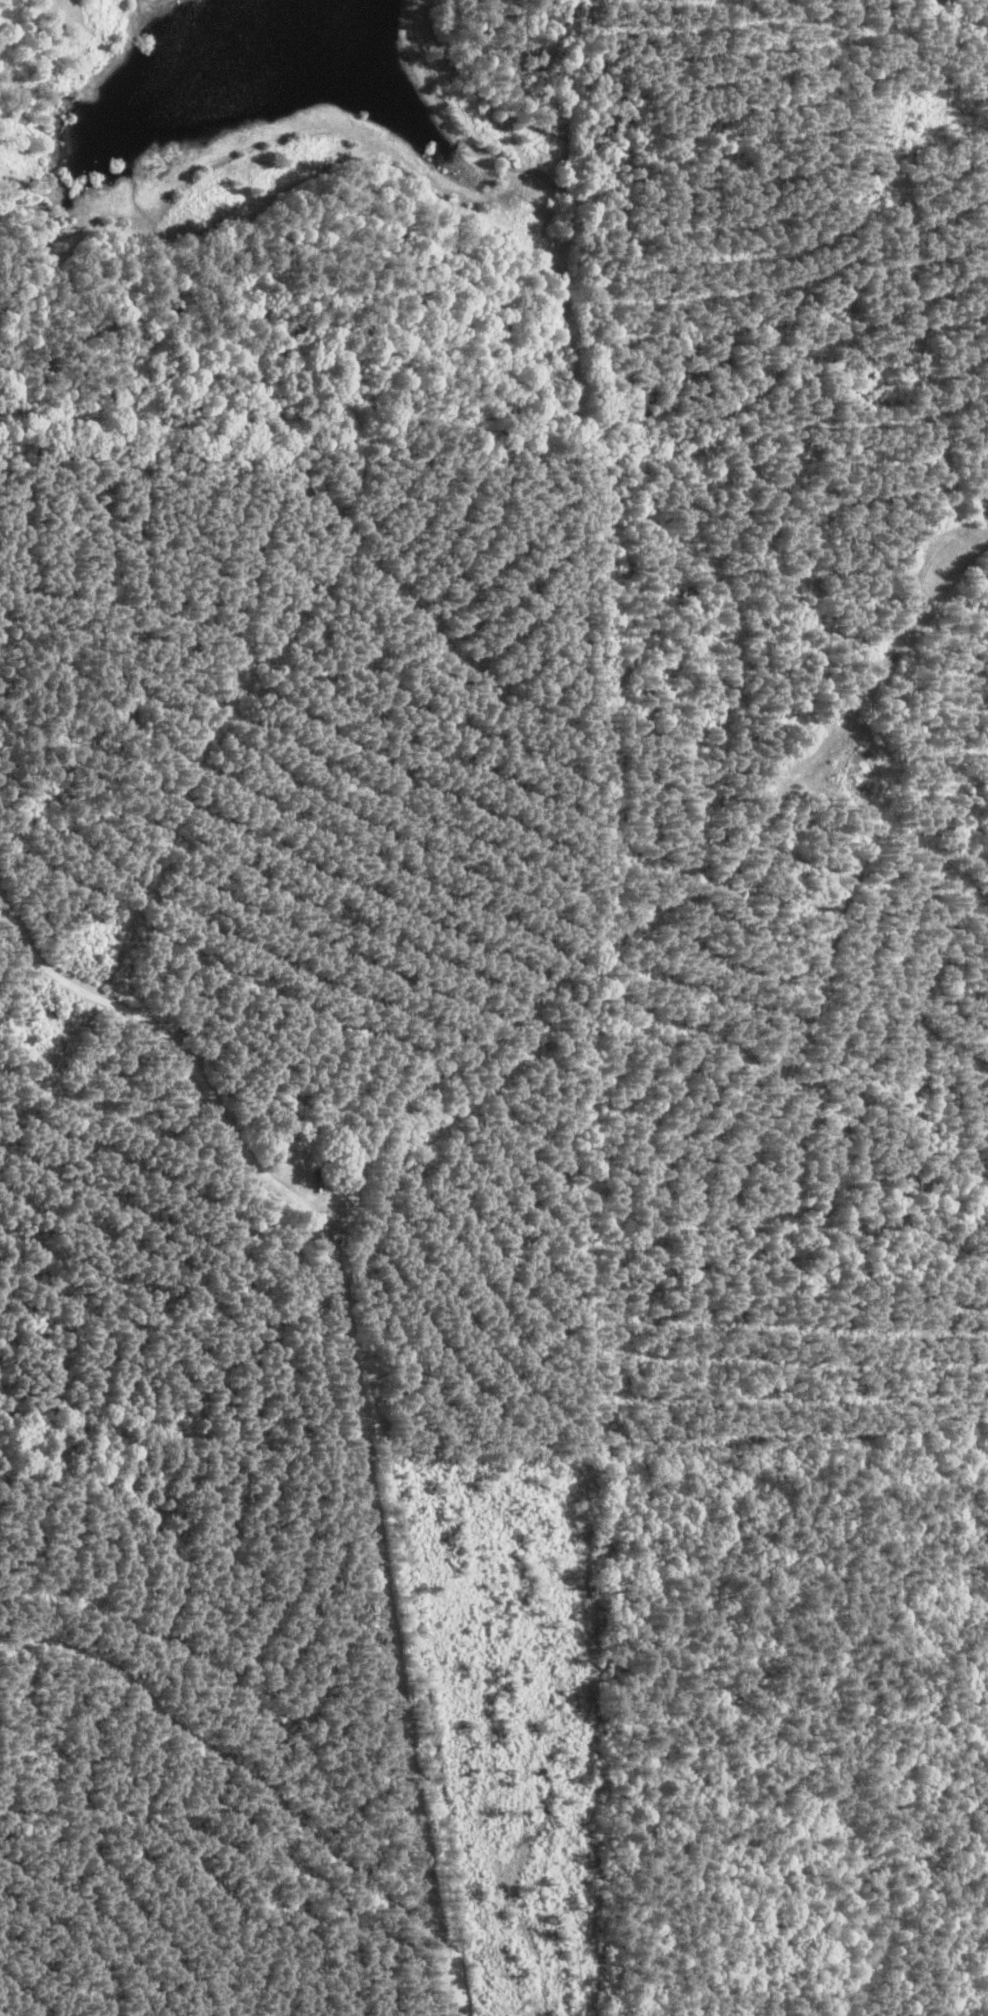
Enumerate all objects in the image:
road: (367, 1389)

